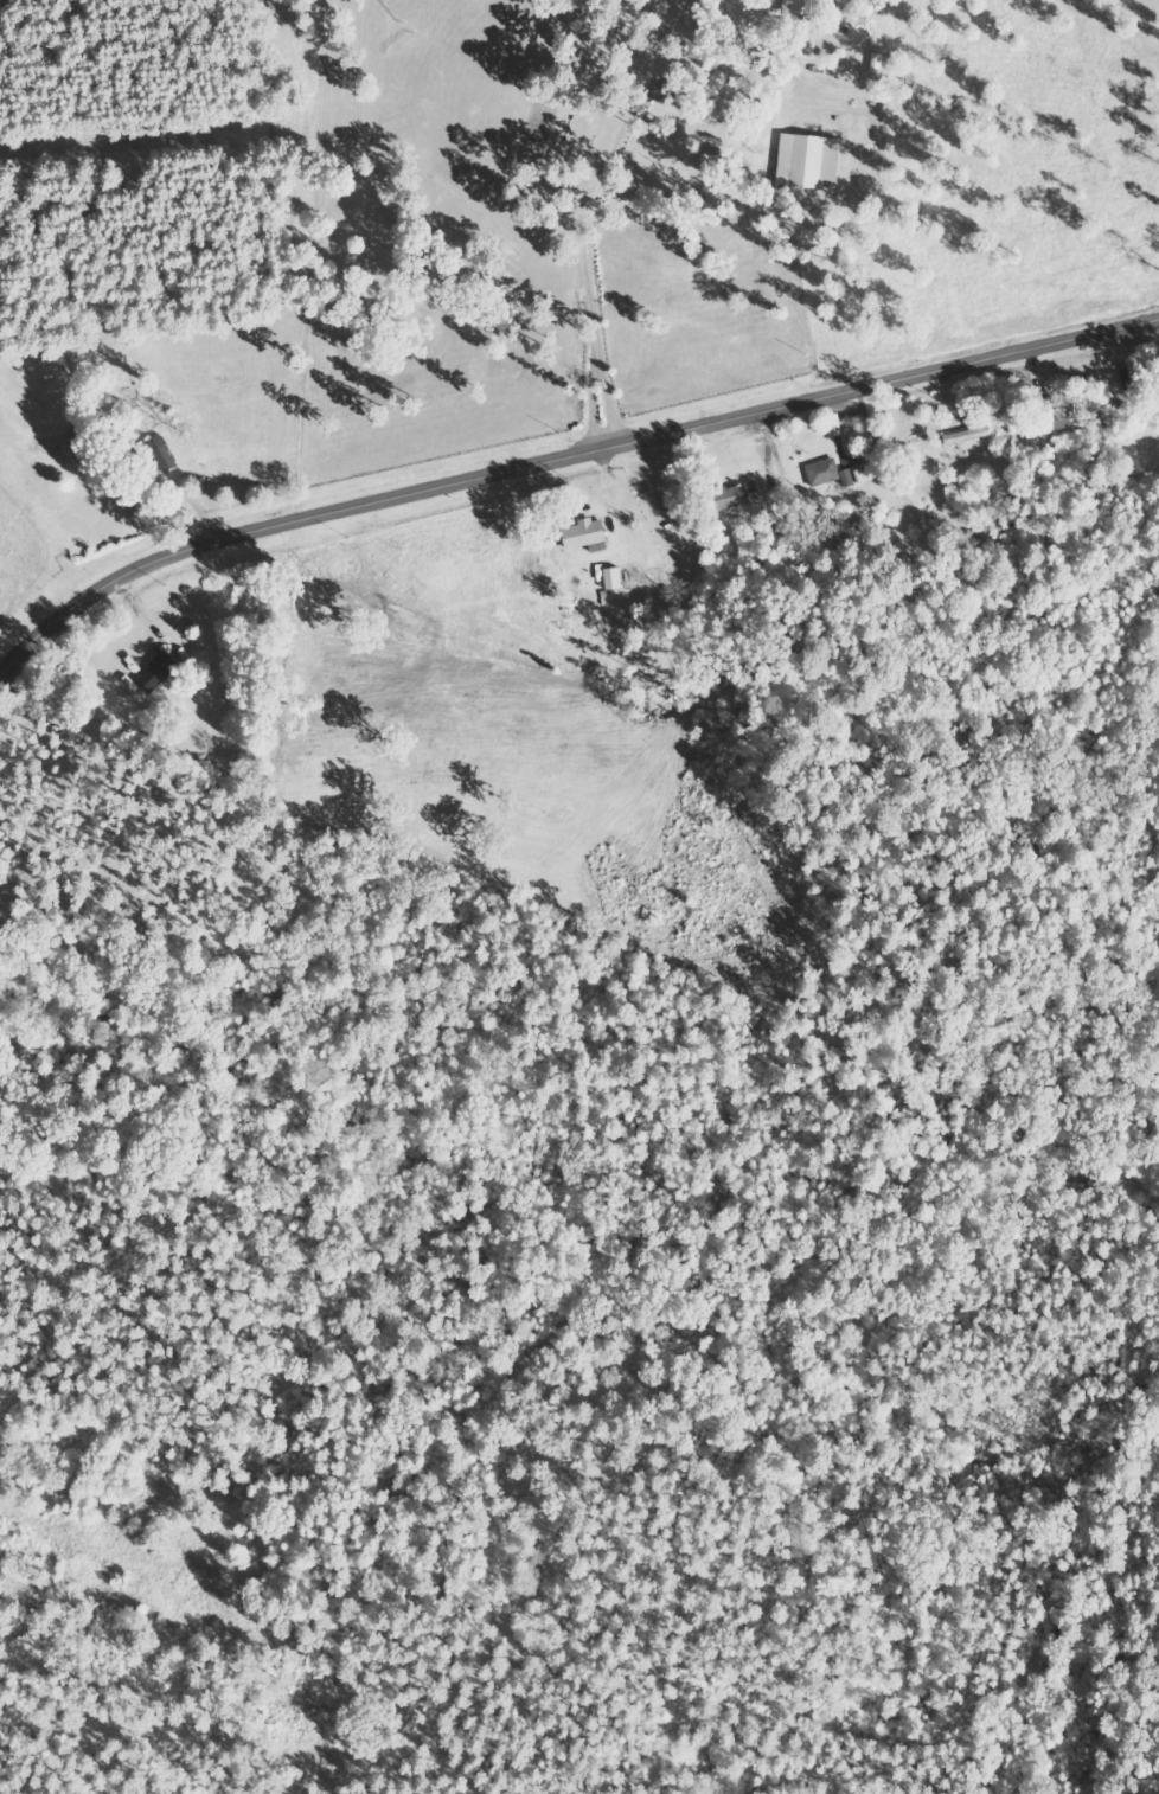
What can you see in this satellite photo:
building: (809, 161)
building: (1061, 418)
building: (95, 431)
building: (967, 436)
road: (559, 461)
building: (828, 475)
building: (731, 498)
building: (590, 534)
building: (165, 672)

